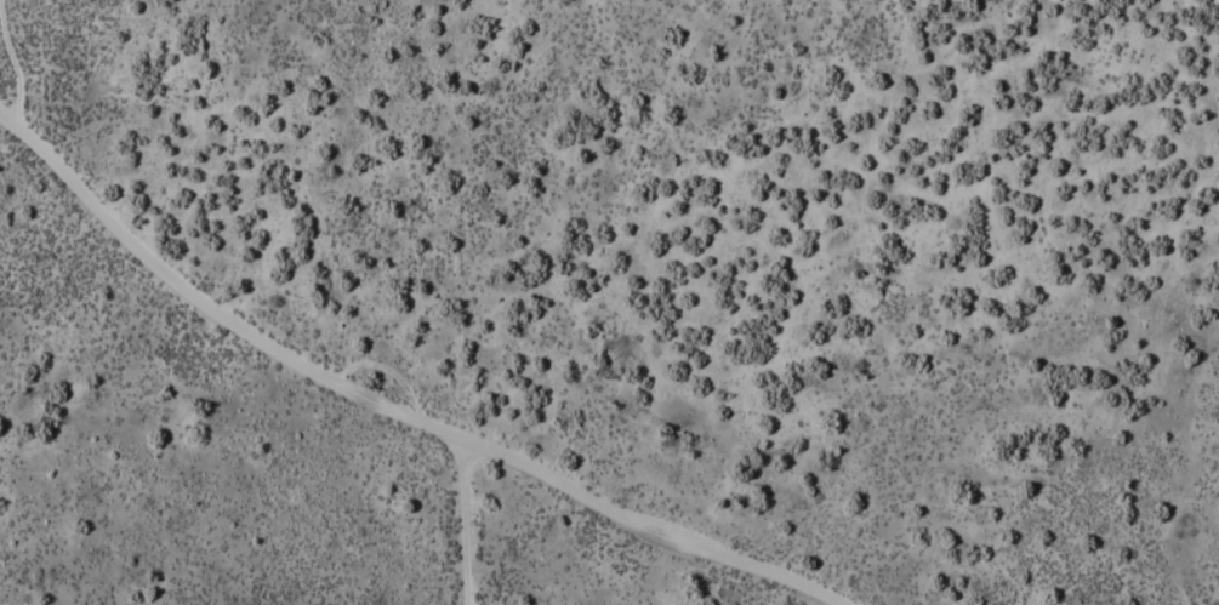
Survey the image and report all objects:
road: (387, 410)
road: (455, 521)

